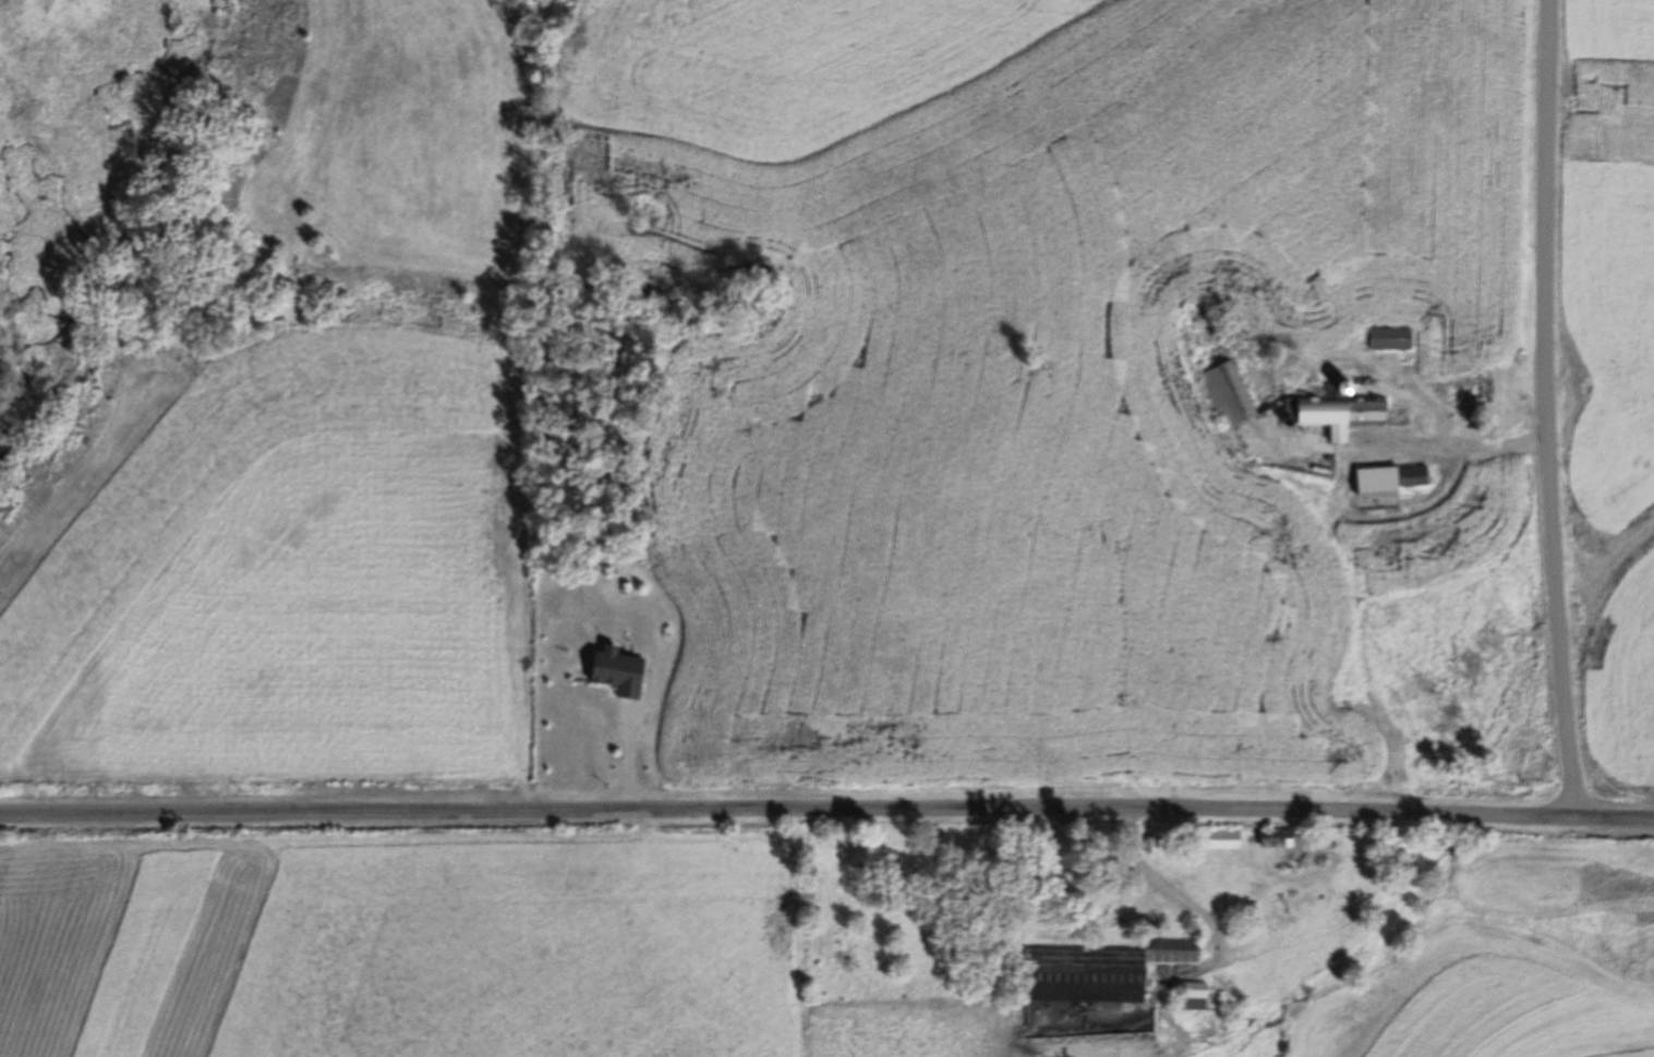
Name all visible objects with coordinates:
building: (1390, 338)
building: (1470, 391)
building: (1229, 394)
road: (1552, 408)
building: (1352, 414)
building: (1414, 476)
building: (1377, 482)
road: (826, 804)
building: (1276, 838)
building: (1217, 839)
building: (1099, 971)
building: (1192, 991)

